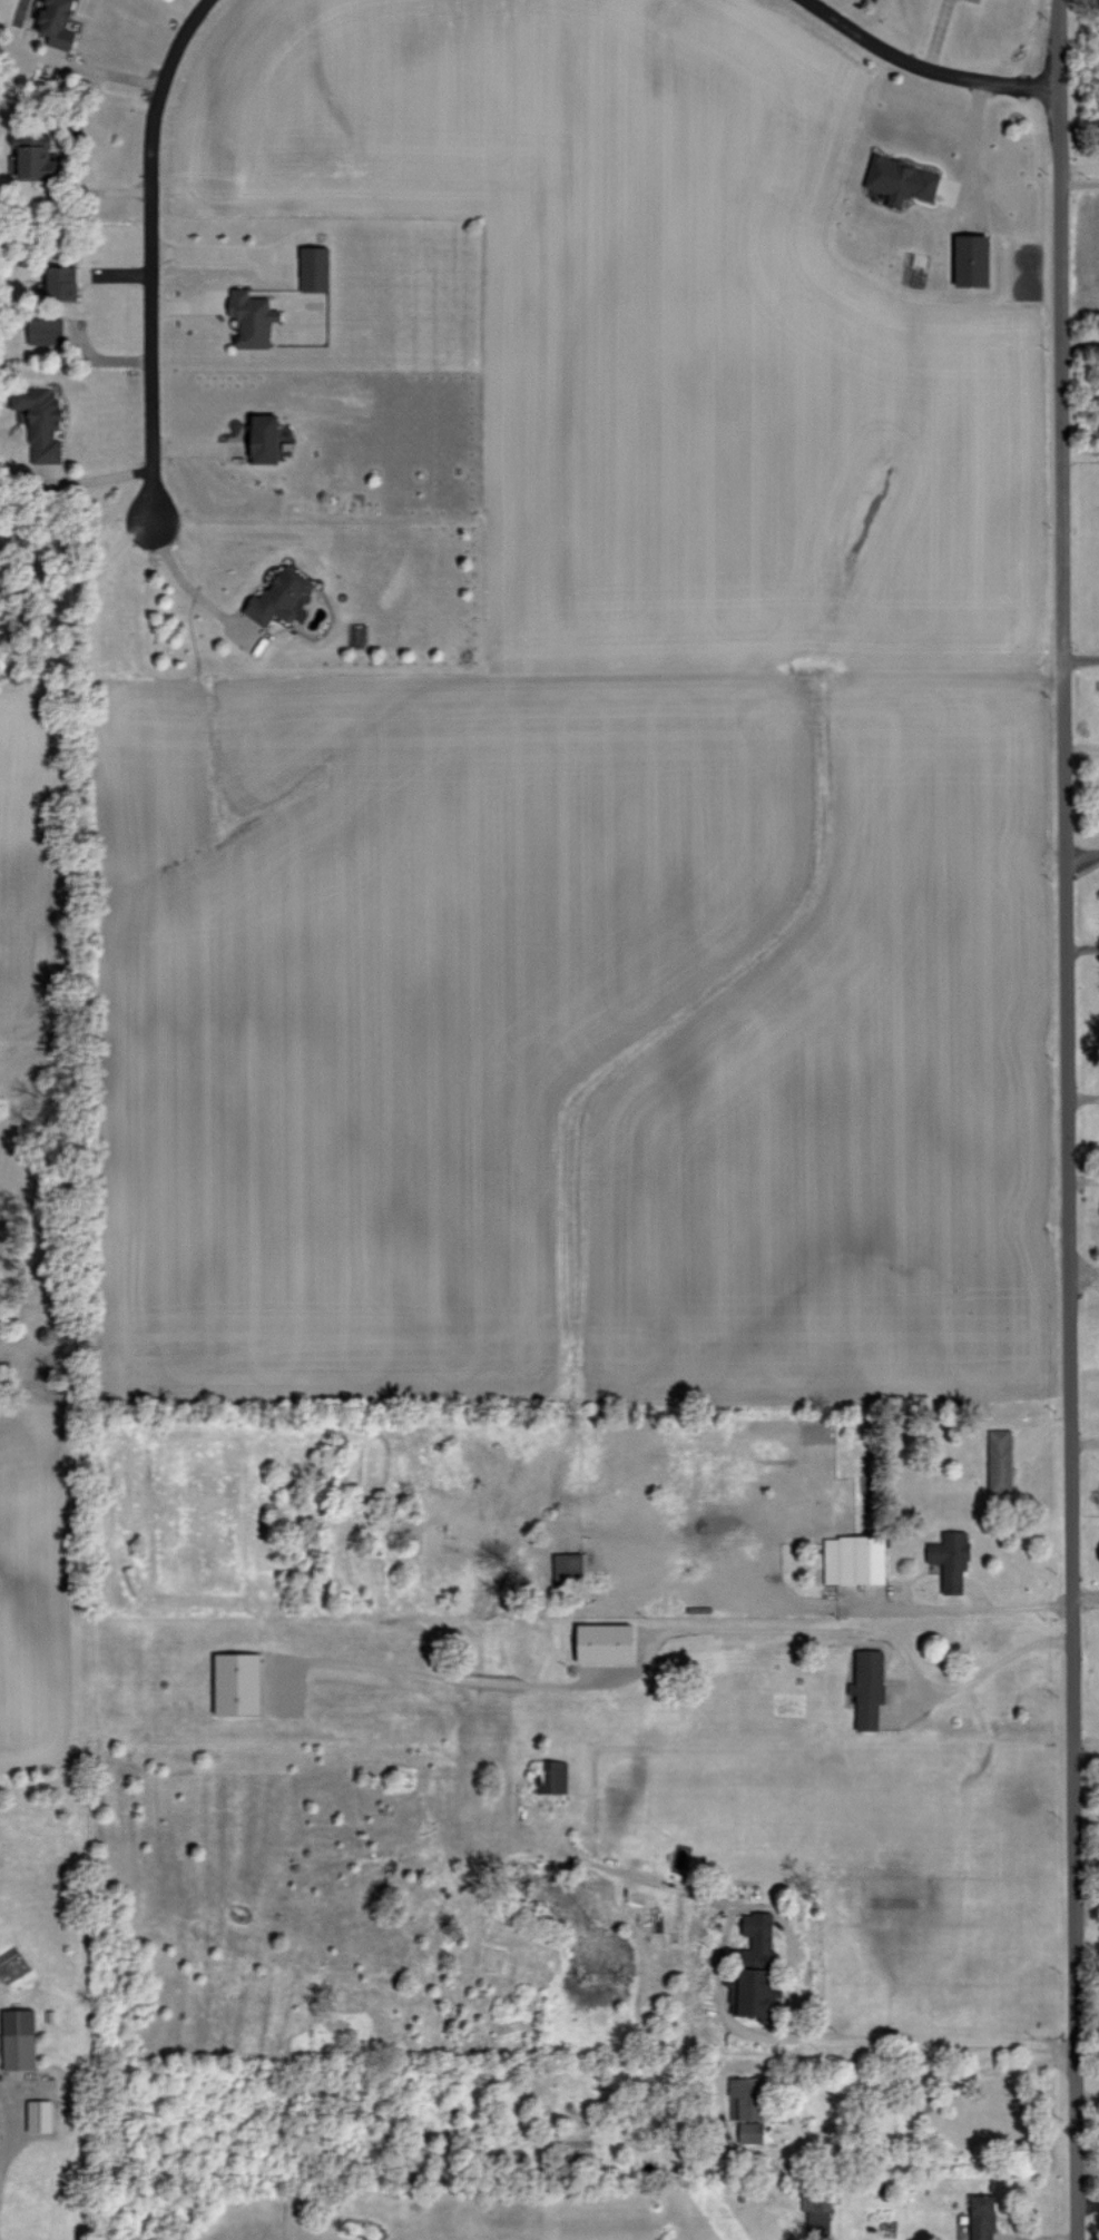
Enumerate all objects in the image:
building: (57, 22)
road: (926, 65)
building: (35, 157)
road: (1078, 167)
building: (901, 180)
road: (1078, 184)
road: (148, 249)
building: (972, 259)
building: (315, 268)
building: (61, 283)
building: (252, 317)
building: (46, 331)
road: (1077, 344)
building: (40, 421)
building: (264, 439)
road: (88, 572)
road: (179, 576)
building: (279, 597)
road: (1076, 658)
road: (1075, 852)
road: (1076, 949)
road: (1076, 1094)
road: (1053, 1120)
road: (1076, 1180)
road: (1077, 1274)
road: (1077, 1440)
building: (1000, 1461)
building: (854, 1559)
building: (951, 1559)
building: (569, 1566)
road: (1078, 1594)
road: (949, 1603)
road: (671, 1628)
building: (606, 1643)
building: (238, 1683)
building: (869, 1688)
road: (1078, 1740)
building: (552, 1777)
road: (1078, 1879)
building: (755, 1968)
building: (19, 2038)
building: (0, 2069)
building: (746, 2099)
building: (39, 2115)
road: (1, 2130)
building: (750, 2132)
building: (817, 2209)
building: (982, 2217)

